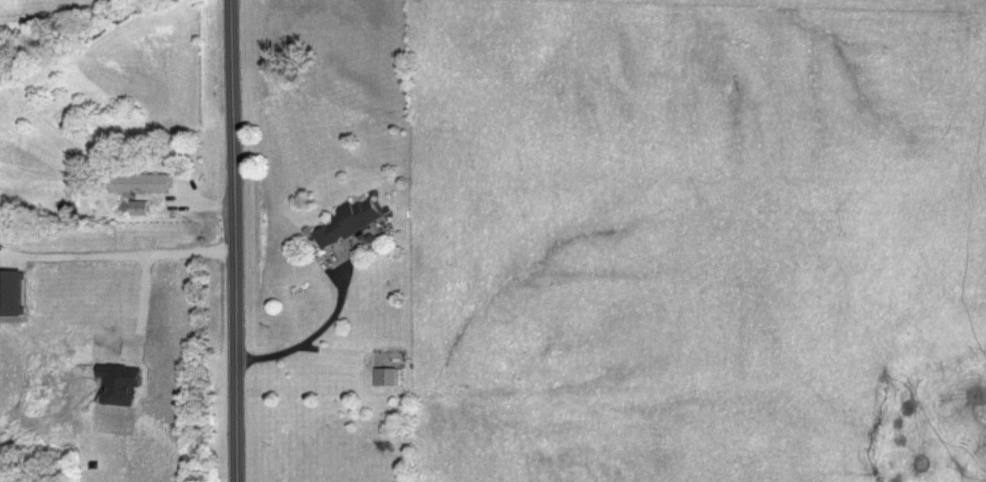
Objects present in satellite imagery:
building: (144, 185)
building: (142, 209)
building: (352, 223)
road: (231, 241)
road: (116, 258)
building: (12, 294)
road: (143, 311)
road: (316, 335)
building: (388, 378)
building: (123, 385)

